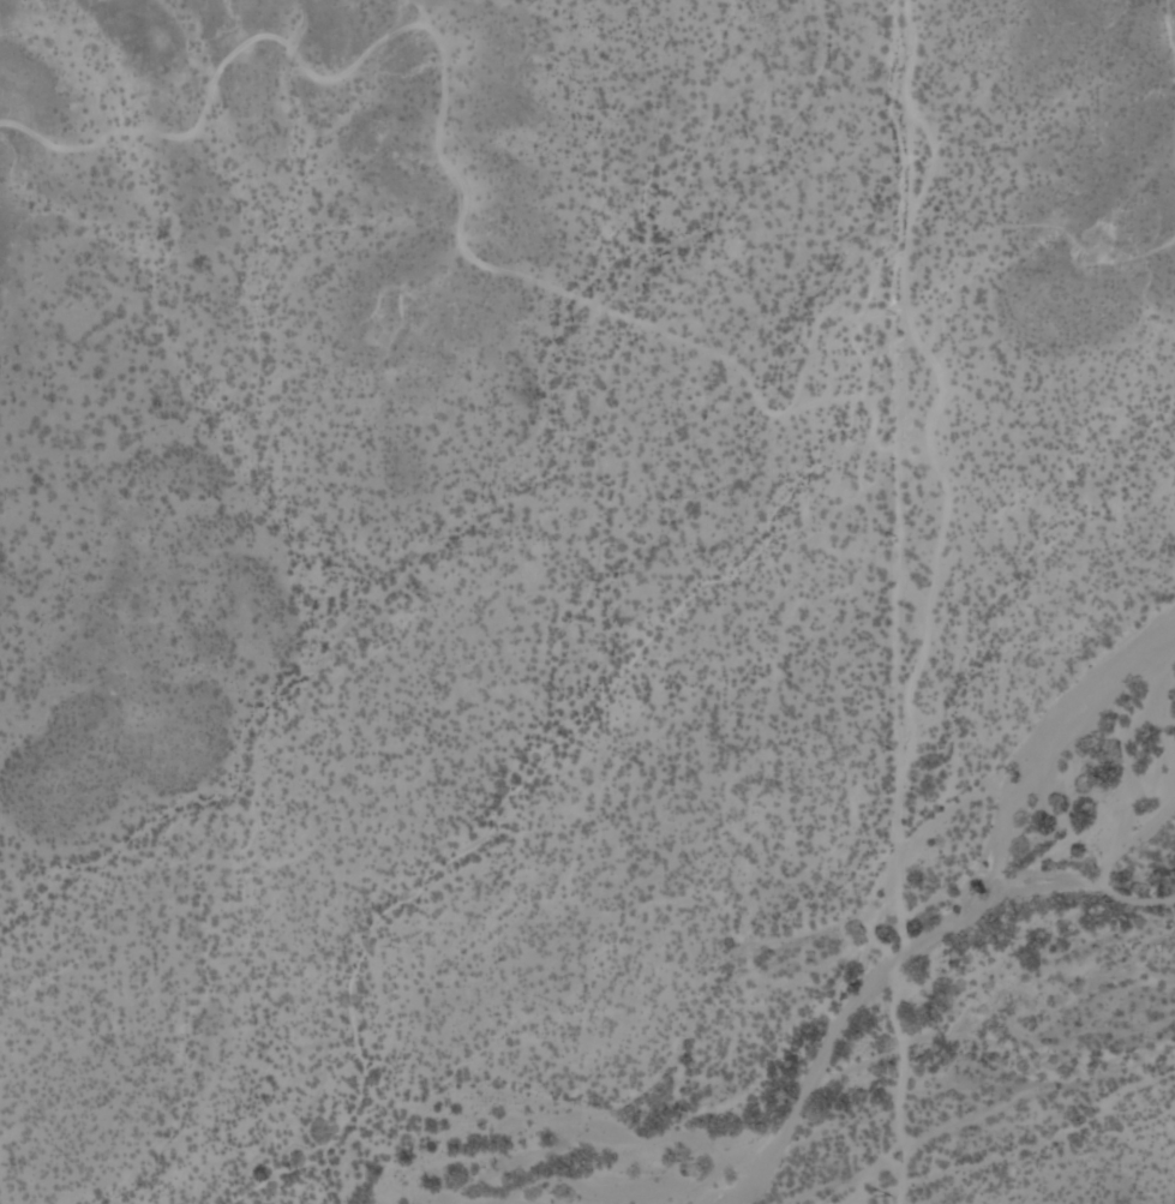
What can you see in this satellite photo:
road: (895, 481)
road: (900, 1082)

